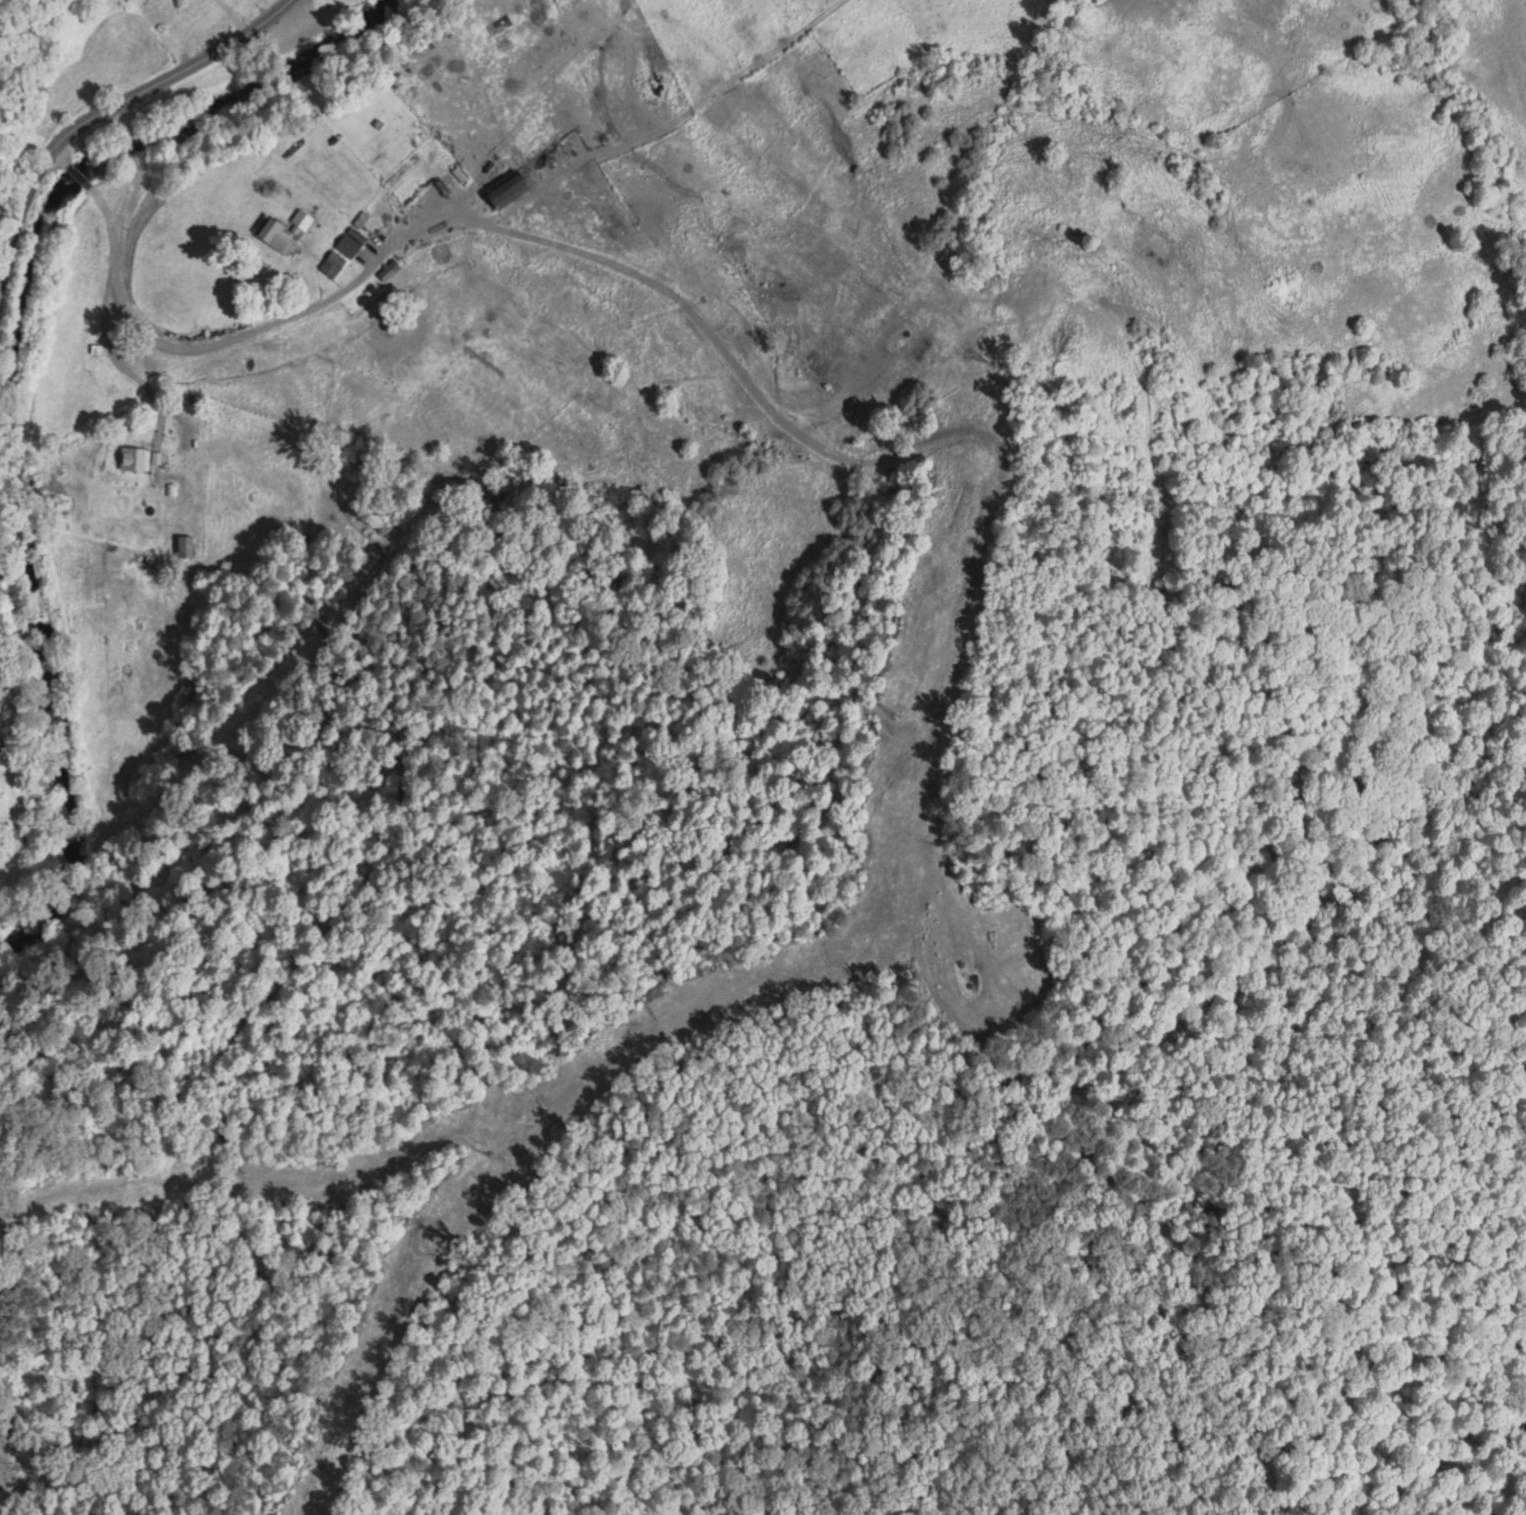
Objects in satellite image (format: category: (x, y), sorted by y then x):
road: (101, 102)
road: (59, 154)
road: (78, 172)
building: (522, 174)
building: (274, 234)
building: (346, 243)
building: (331, 261)
building: (387, 268)
road: (109, 276)
road: (253, 327)
building: (133, 457)
building: (183, 543)
building: (16, 832)

